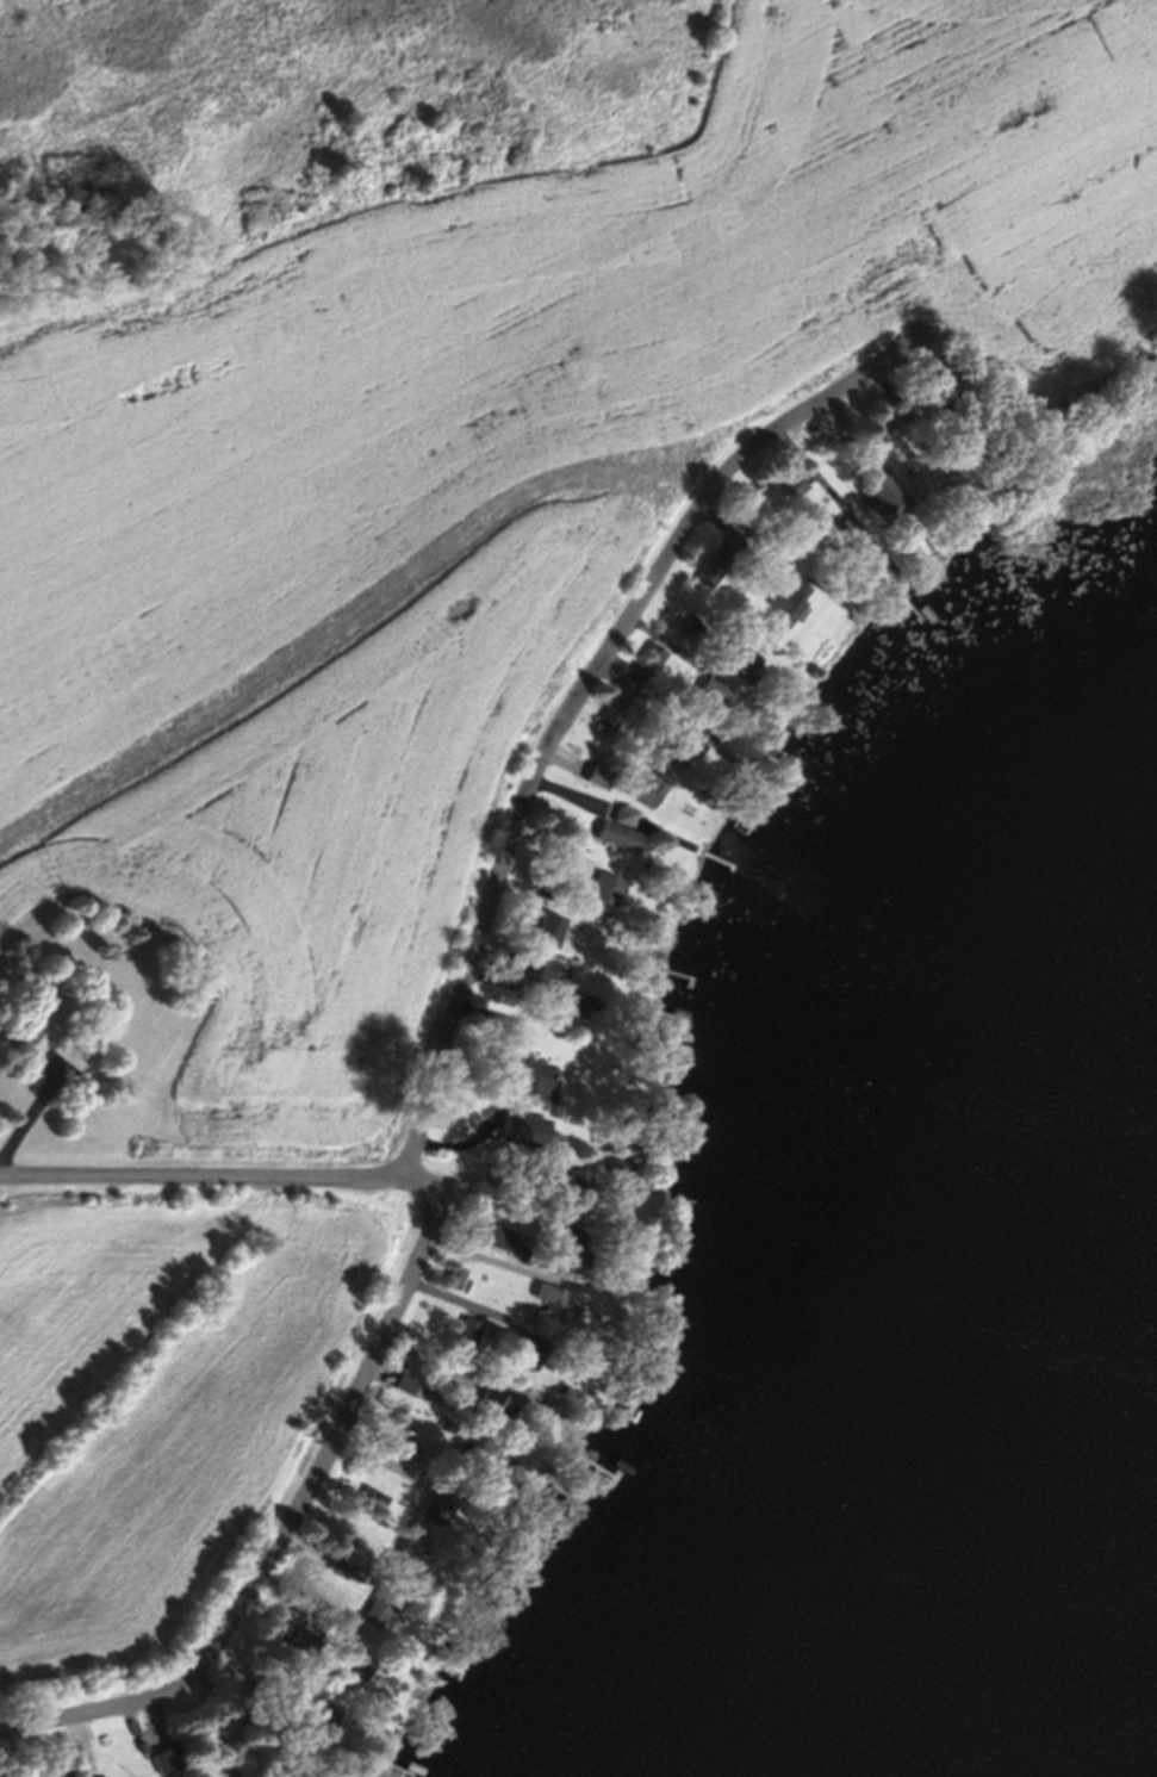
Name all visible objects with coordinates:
building: (878, 502)
building: (847, 538)
building: (788, 615)
building: (655, 661)
building: (716, 700)
road: (577, 704)
building: (686, 752)
building: (599, 781)
building: (647, 796)
building: (622, 833)
building: (572, 889)
building: (608, 894)
building: (549, 936)
building: (537, 974)
building: (41, 1032)
building: (523, 1081)
river: (1001, 1108)
road: (27, 1111)
building: (524, 1135)
building: (616, 1170)
building: (579, 1192)
building: (560, 1242)
building: (505, 1245)
road: (491, 1260)
building: (458, 1284)
building: (554, 1309)
building: (471, 1337)
road: (386, 1338)
building: (408, 1388)
building: (494, 1417)
building: (408, 1455)
building: (464, 1460)
building: (434, 1515)
building: (408, 1565)
building: (379, 1618)
building: (353, 1672)
river: (1072, 1697)
building: (166, 1766)

